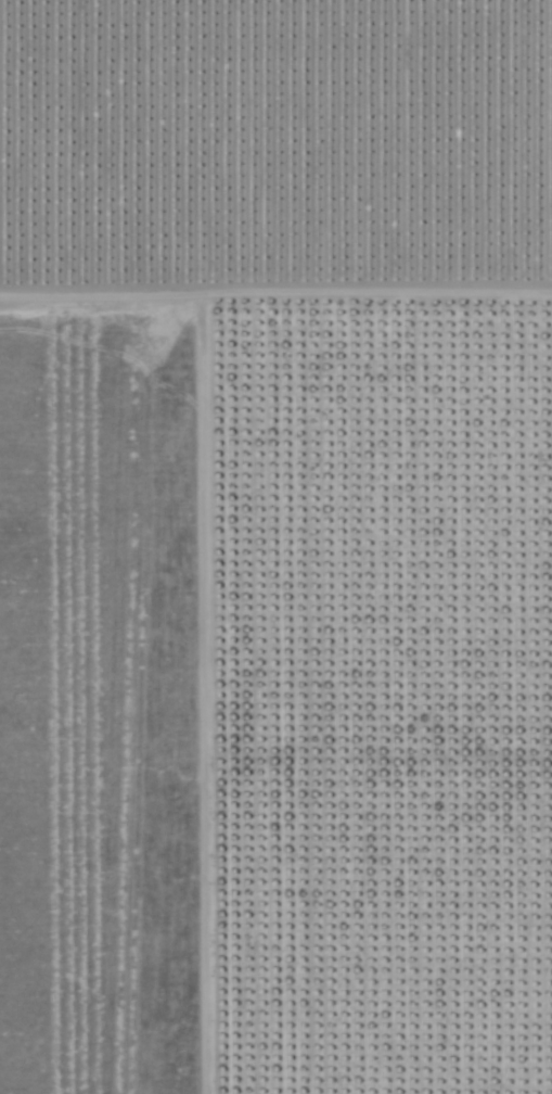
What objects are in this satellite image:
crop: (277, 137)
road: (275, 300)
crop: (372, 700)

